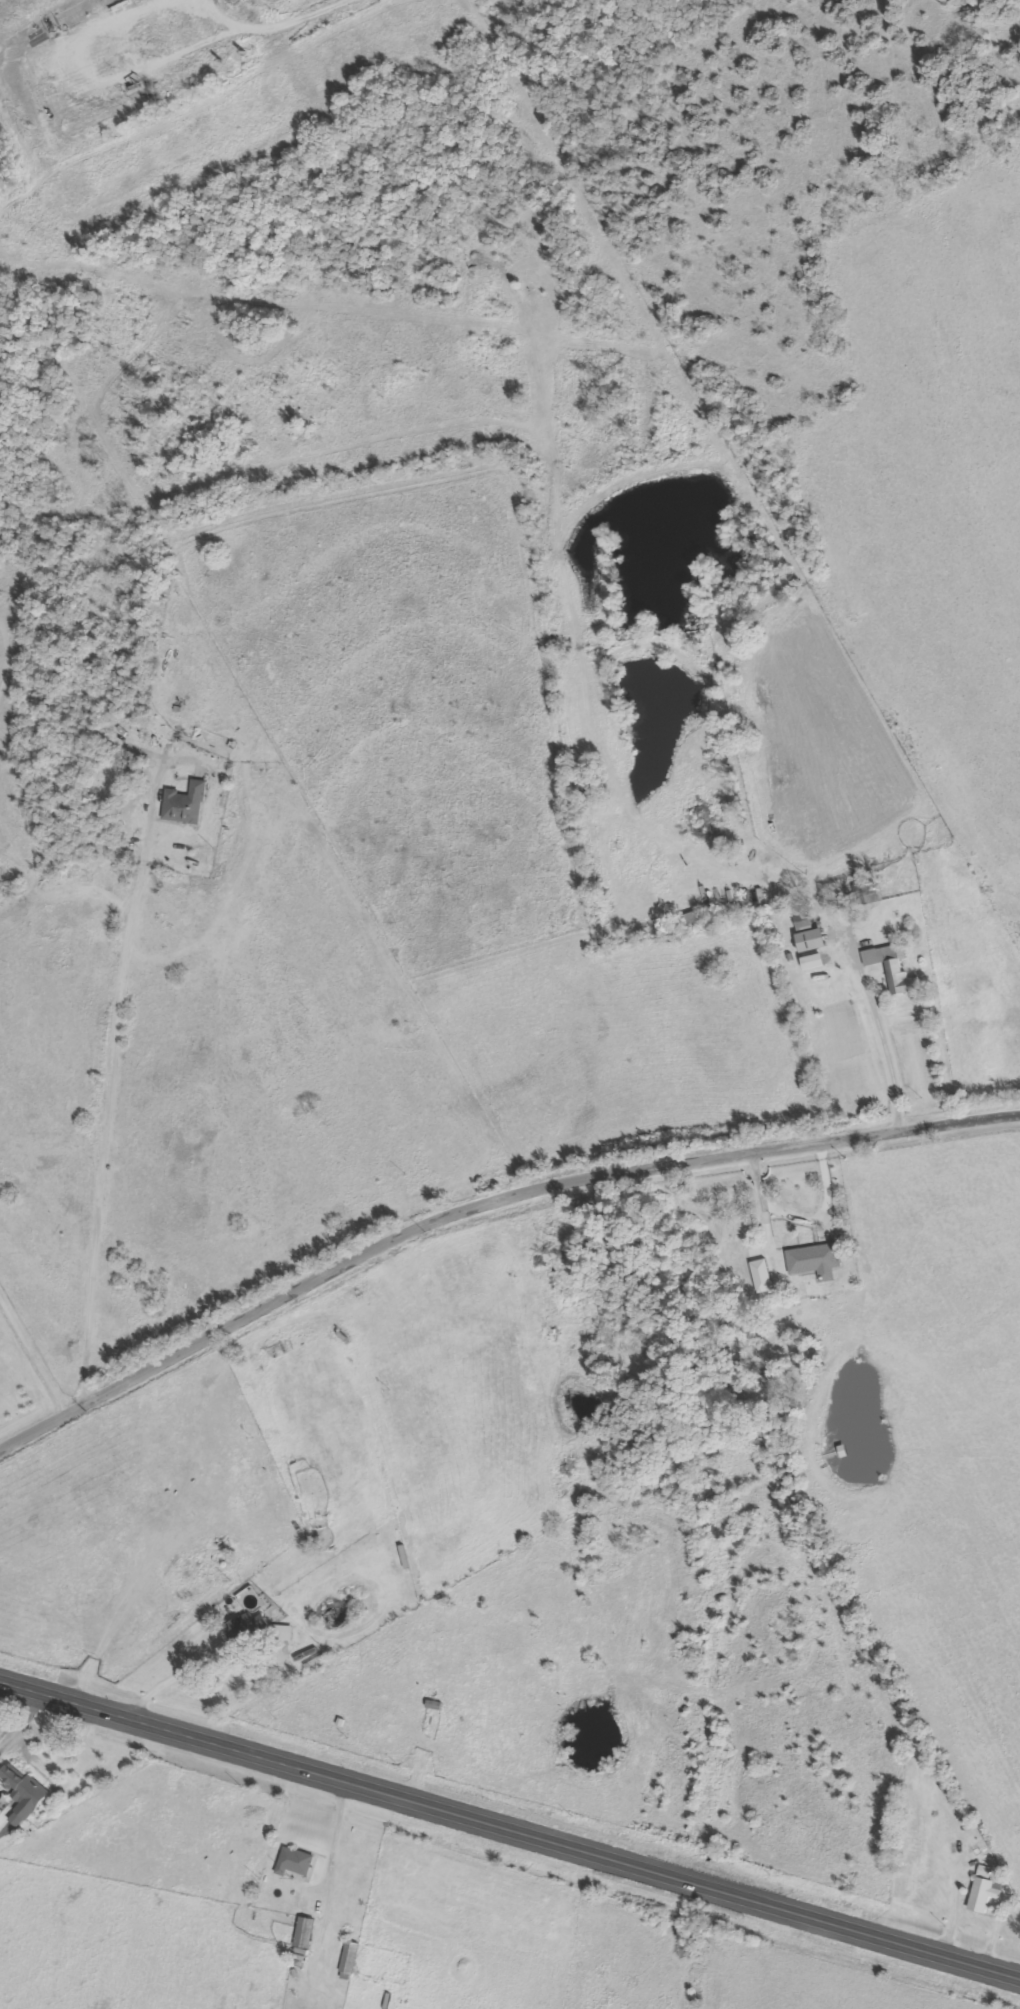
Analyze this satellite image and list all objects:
building: (186, 804)
building: (803, 918)
building: (694, 919)
building: (813, 940)
building: (820, 962)
building: (894, 968)
road: (114, 1055)
road: (482, 1193)
building: (814, 1259)
building: (767, 1276)
building: (247, 1627)
building: (286, 1633)
building: (436, 1704)
building: (27, 1791)
road: (510, 1820)
building: (296, 1862)
building: (985, 1890)
building: (305, 1933)
building: (349, 1961)

